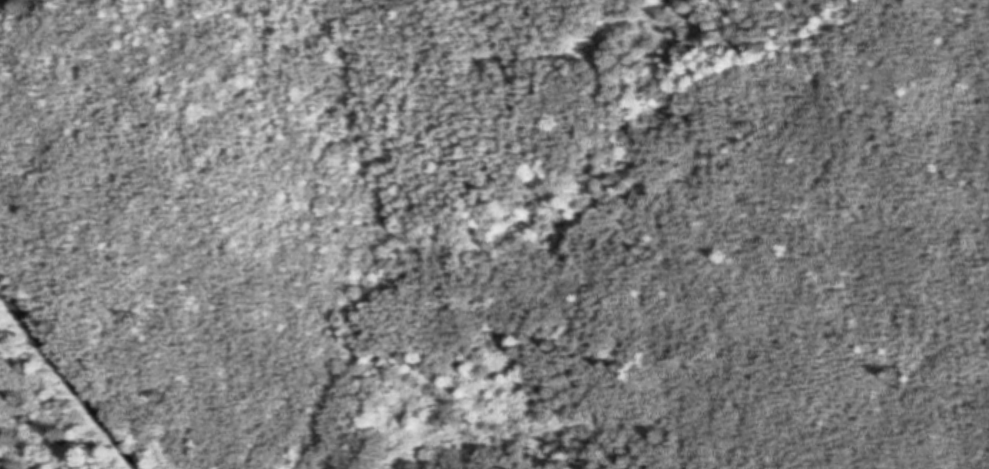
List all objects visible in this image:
road: (67, 378)

